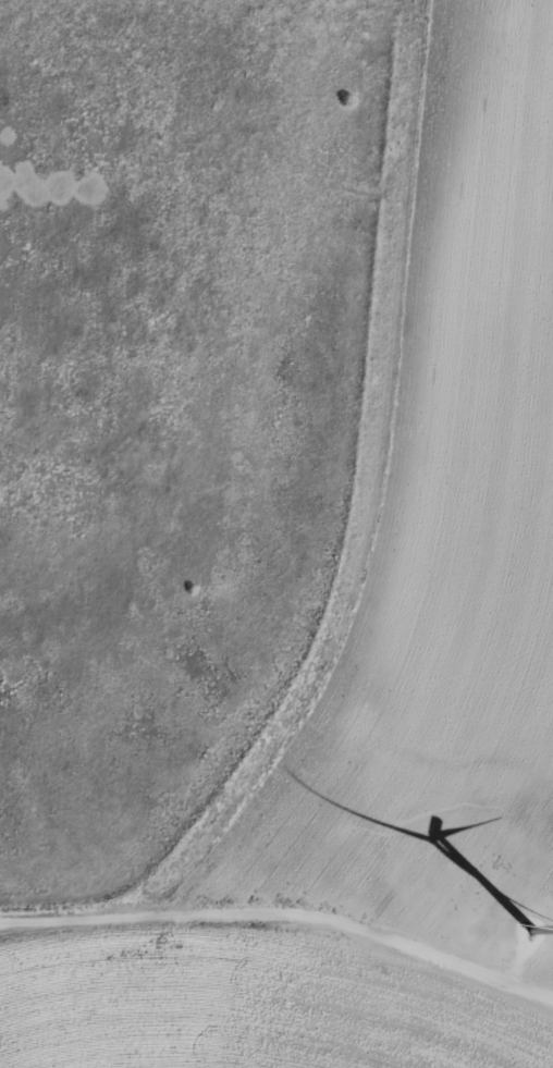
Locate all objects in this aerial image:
wind turbine: (531, 934)

